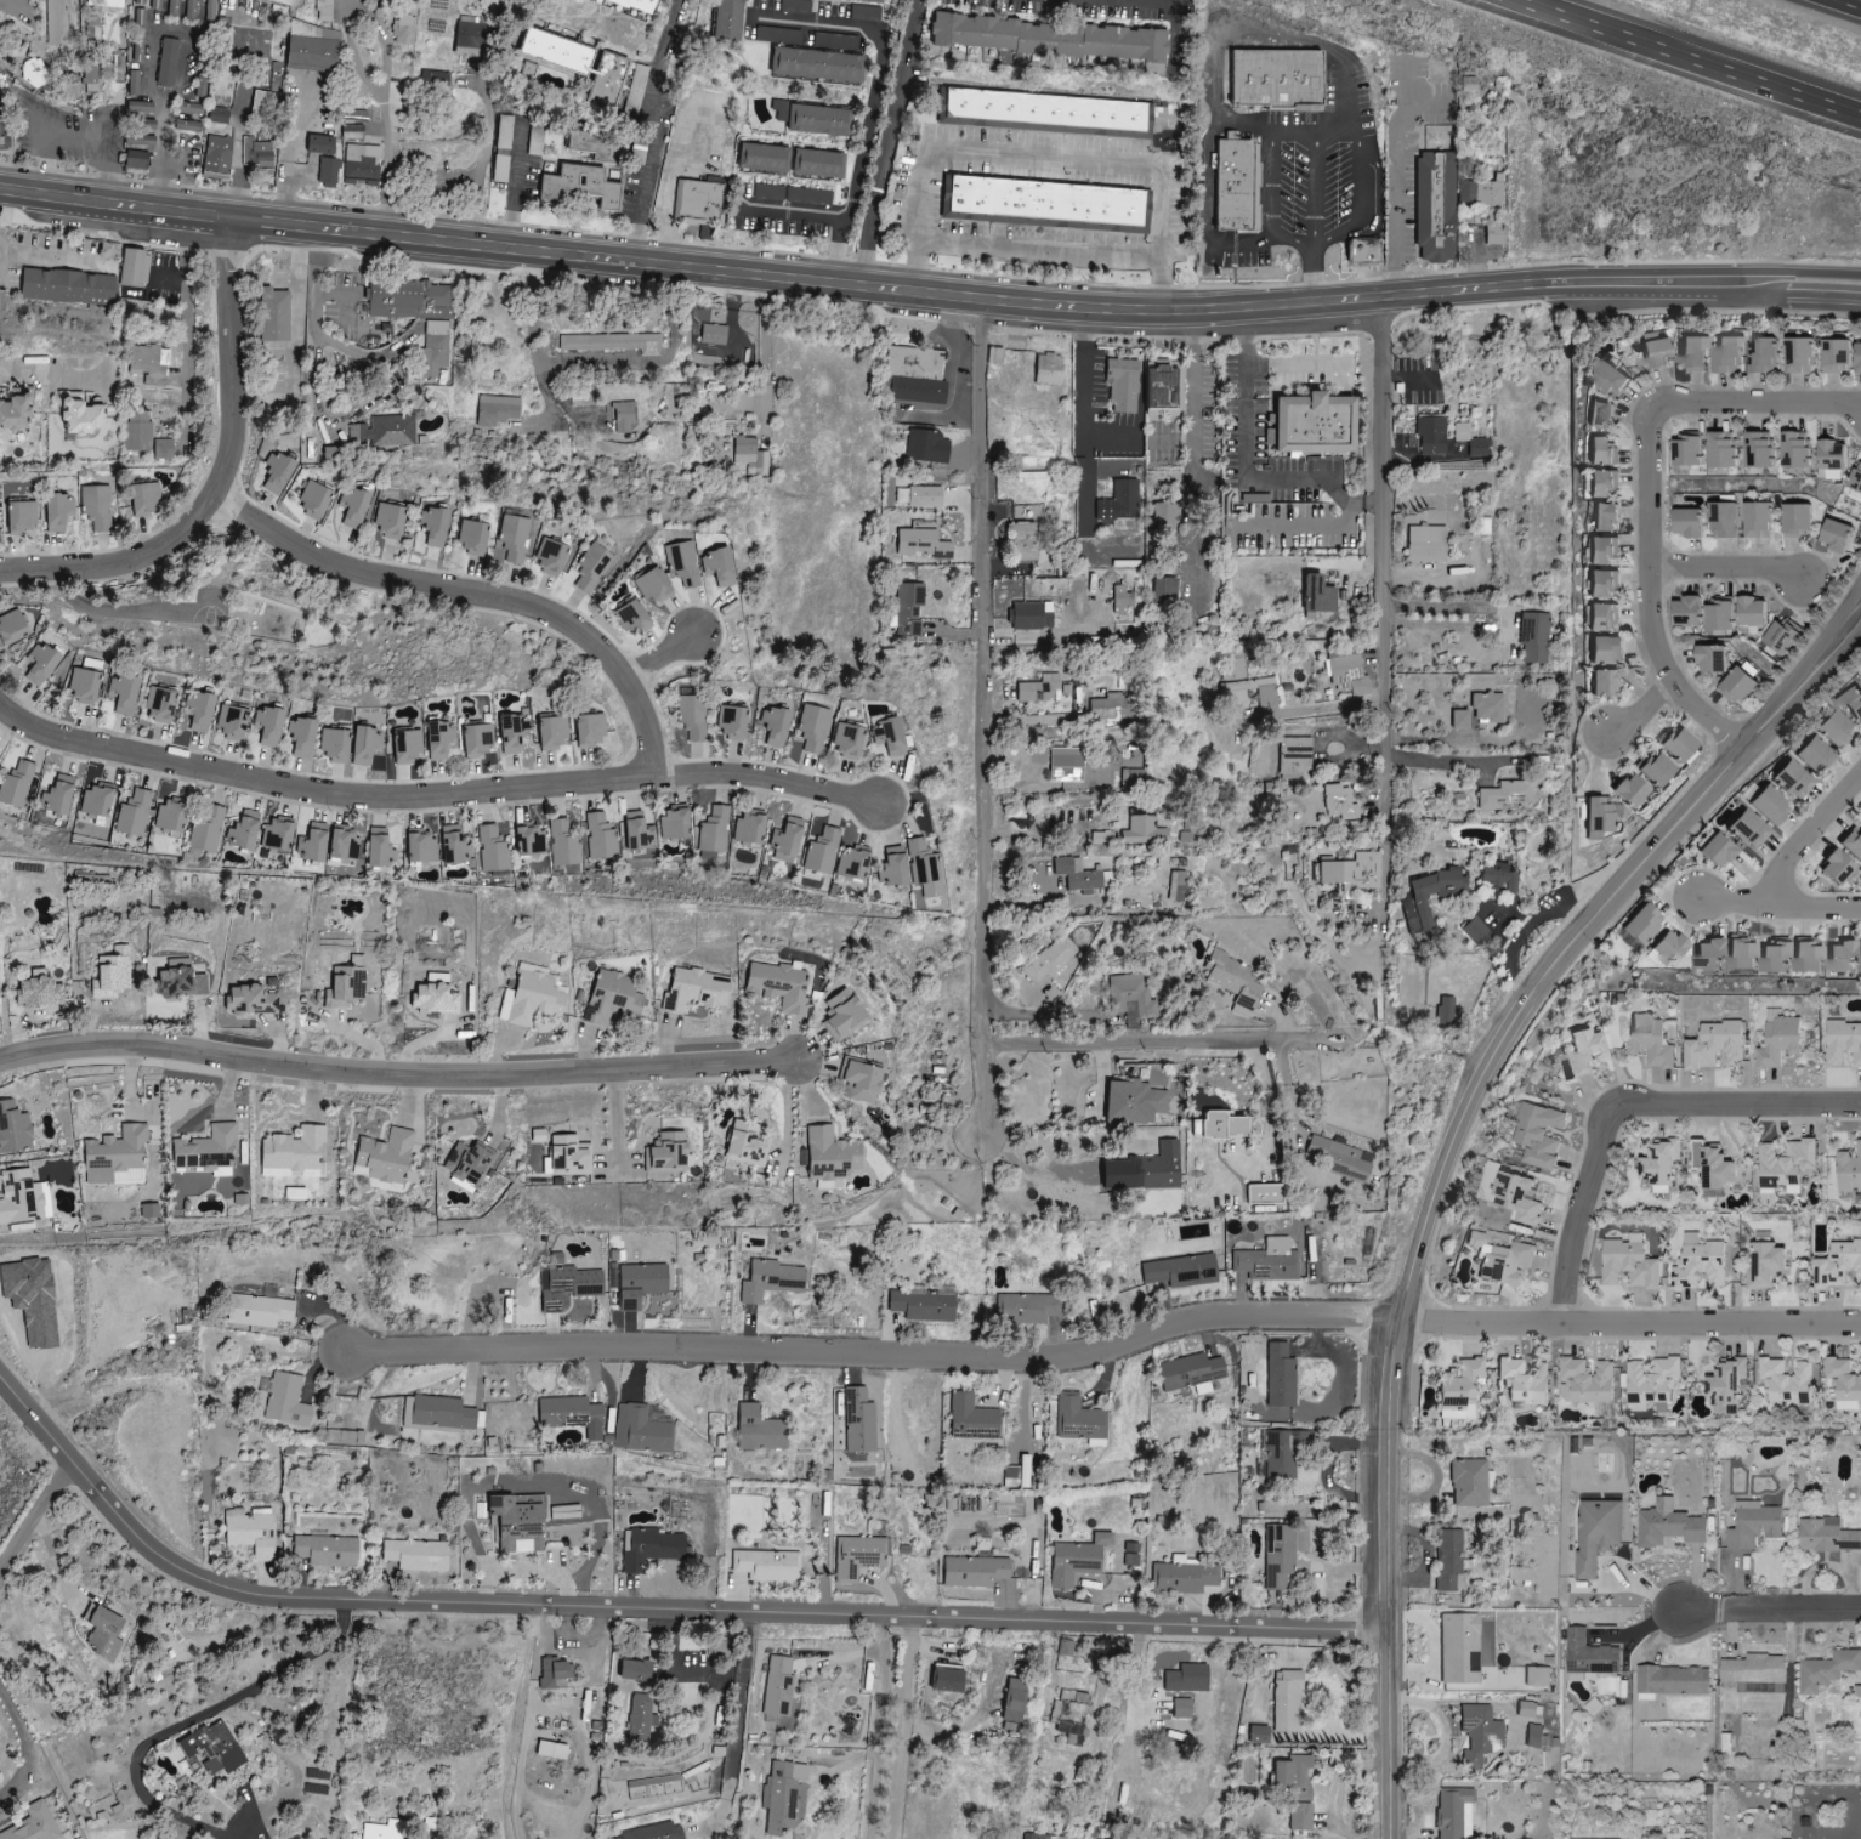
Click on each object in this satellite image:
building: (138, 1)
building: (870, 1)
building: (108, 4)
building: (155, 4)
building: (640, 4)
road: (1845, 5)
building: (174, 7)
building: (191, 8)
building: (210, 10)
building: (323, 11)
building: (730, 18)
building: (55, 23)
building: (404, 30)
road: (194, 33)
building: (1051, 38)
building: (470, 39)
building: (558, 50)
building: (314, 51)
road: (1689, 57)
building: (168, 63)
building: (818, 66)
building: (608, 79)
building: (1272, 79)
building: (90, 80)
building: (134, 83)
building: (433, 83)
building: (635, 91)
building: (396, 93)
road: (876, 100)
building: (263, 107)
building: (1043, 109)
road: (386, 110)
building: (819, 120)
road: (490, 121)
road: (654, 129)
building: (352, 131)
building: (1437, 135)
building: (586, 142)
road: (887, 142)
building: (320, 144)
road: (286, 152)
building: (256, 153)
building: (219, 155)
road: (1042, 155)
building: (765, 158)
building: (136, 160)
building: (819, 164)
building: (361, 165)
street lamp: (32, 169)
building: (327, 174)
road: (1395, 182)
road: (669, 183)
building: (581, 187)
building: (1229, 187)
road: (1315, 188)
building: (1490, 192)
building: (700, 202)
building: (1040, 204)
building: (1436, 206)
road: (796, 217)
street lamp: (572, 227)
road: (1269, 234)
building: (1496, 234)
street lamp: (700, 240)
road: (1241, 240)
road: (1037, 249)
road: (49, 254)
street lamp: (818, 254)
building: (1360, 254)
street lamp: (267, 259)
building: (134, 267)
road: (1314, 272)
building: (68, 286)
road: (927, 291)
building: (408, 300)
road: (296, 307)
building: (274, 316)
road: (186, 329)
building: (713, 335)
road: (534, 339)
building: (612, 344)
building: (433, 347)
building: (1658, 353)
building: (1700, 353)
building: (1734, 354)
building: (1770, 354)
building: (1806, 354)
building: (994, 356)
building: (1845, 356)
building: (149, 364)
building: (1049, 369)
road: (49, 370)
building: (915, 375)
building: (1617, 376)
building: (1123, 386)
building: (1162, 387)
road: (1082, 391)
road: (1760, 408)
building: (497, 410)
building: (16, 411)
building: (1605, 414)
building: (81, 416)
building: (624, 416)
building: (1312, 424)
building: (137, 432)
building: (384, 432)
building: (1431, 435)
building: (1471, 441)
building: (927, 447)
building: (163, 449)
building: (1800, 449)
building: (1691, 450)
building: (1727, 450)
building: (1764, 450)
building: (1607, 452)
building: (1837, 455)
building: (750, 456)
road: (1196, 456)
road: (1246, 461)
road: (219, 473)
building: (277, 473)
building: (1857, 479)
building: (1607, 484)
building: (925, 498)
building: (314, 499)
building: (146, 500)
building: (1117, 503)
building: (96, 507)
building: (353, 507)
building: (58, 511)
building: (1165, 516)
building: (1611, 516)
building: (21, 517)
building: (1805, 518)
building: (1731, 520)
building: (1765, 520)
building: (390, 521)
building: (1696, 522)
building: (435, 527)
building: (1844, 535)
building: (473, 537)
building: (514, 539)
building: (1023, 543)
building: (921, 544)
building: (1425, 544)
road: (1381, 550)
building: (1606, 551)
building: (552, 556)
building: (683, 564)
building: (720, 567)
building: (594, 568)
road: (1738, 572)
building: (1605, 584)
building: (654, 586)
building: (1164, 591)
building: (1318, 595)
road: (469, 596)
road: (1658, 597)
building: (1122, 600)
building: (908, 608)
road: (1448, 609)
building: (1692, 611)
building: (1758, 612)
building: (1724, 614)
building: (636, 617)
building: (1031, 617)
building: (1605, 618)
building: (12, 628)
building: (1787, 636)
building: (1534, 637)
building: (1612, 651)
road: (658, 658)
building: (1719, 659)
building: (41, 664)
building: (1347, 675)
building: (1610, 683)
building: (1747, 685)
building: (84, 686)
building: (1040, 689)
building: (123, 694)
building: (1233, 697)
building: (160, 704)
building: (1111, 708)
road: (1320, 708)
building: (1487, 708)
building: (199, 713)
road: (985, 714)
road: (1652, 715)
building: (692, 719)
building: (1459, 720)
building: (232, 721)
building: (732, 722)
building: (269, 726)
building: (776, 727)
building: (813, 728)
building: (1839, 728)
building: (590, 731)
building: (514, 733)
building: (552, 733)
building: (303, 737)
building: (890, 737)
building: (439, 739)
building: (477, 740)
building: (849, 740)
building: (336, 745)
building: (367, 745)
building: (408, 745)
building: (1681, 745)
building: (1817, 755)
building: (1294, 759)
building: (1067, 765)
building: (1659, 771)
building: (1133, 778)
building: (1794, 779)
building: (17, 784)
building: (1634, 790)
building: (58, 795)
building: (1507, 796)
road: (435, 800)
building: (97, 801)
building: (1339, 802)
building: (1772, 806)
building: (134, 813)
building: (171, 817)
building: (1601, 818)
building: (675, 825)
building: (749, 829)
building: (1751, 829)
building: (206, 830)
building: (245, 830)
building: (714, 830)
building: (639, 833)
road: (1048, 833)
road: (1808, 833)
building: (277, 835)
building: (600, 838)
building: (529, 841)
building: (787, 841)
building: (313, 842)
building: (1853, 842)
building: (345, 844)
building: (563, 845)
building: (455, 846)
building: (421, 847)
building: (381, 848)
building: (493, 850)
building: (823, 851)
building: (1720, 851)
road: (1384, 859)
building: (853, 865)
building: (895, 867)
building: (925, 869)
building: (1352, 872)
building: (1077, 876)
building: (1500, 878)
building: (1176, 886)
building: (1432, 896)
road: (1735, 901)
road: (1816, 903)
building: (1646, 925)
building: (1475, 931)
building: (1674, 948)
building: (1746, 953)
building: (1713, 954)
building: (1780, 957)
building: (1812, 958)
building: (1846, 958)
building: (1049, 960)
building: (113, 977)
building: (180, 983)
building: (1233, 983)
building: (779, 986)
building: (346, 988)
building: (40, 991)
building: (696, 991)
building: (1130, 995)
building: (435, 999)
building: (613, 999)
building: (531, 1000)
building: (251, 1001)
building: (1445, 1011)
building: (844, 1015)
road: (1037, 1016)
building: (1653, 1040)
building: (1783, 1041)
building: (1845, 1041)
road: (1122, 1043)
building: (1719, 1045)
building: (1590, 1051)
building: (1575, 1068)
road: (399, 1074)
building: (862, 1079)
building: (1135, 1103)
road: (1624, 1106)
road: (615, 1122)
building: (1222, 1126)
building: (15, 1129)
building: (1544, 1134)
road: (1057, 1140)
building: (748, 1145)
building: (294, 1151)
building: (666, 1154)
building: (386, 1157)
building: (571, 1157)
building: (1338, 1157)
building: (117, 1158)
building: (832, 1158)
road: (1456, 1158)
building: (1792, 1164)
building: (469, 1165)
building: (1667, 1165)
building: (1723, 1168)
building: (1145, 1170)
building: (1851, 1171)
building: (1265, 1194)
building: (21, 1198)
building: (151, 1211)
building: (1267, 1261)
building: (1504, 1261)
building: (1702, 1262)
building: (1634, 1265)
building: (1842, 1265)
building: (1771, 1266)
building: (1181, 1271)
building: (771, 1281)
building: (641, 1284)
building: (568, 1287)
building: (923, 1306)
building: (1027, 1309)
building: (260, 1311)
road: (1630, 1324)
road: (874, 1357)
building: (1190, 1372)
building: (1280, 1375)
building: (1791, 1380)
building: (1526, 1381)
building: (1590, 1381)
building: (1656, 1381)
building: (1846, 1381)
building: (1731, 1384)
building: (1462, 1390)
building: (286, 1401)
building: (441, 1413)
building: (572, 1414)
building: (972, 1419)
building: (858, 1420)
building: (1080, 1420)
building: (760, 1429)
building: (640, 1430)
building: (1280, 1455)
building: (1017, 1474)
building: (558, 1478)
building: (1470, 1482)
building: (564, 1512)
road: (34, 1517)
building: (520, 1522)
building: (1758, 1525)
building: (1673, 1527)
building: (251, 1533)
building: (1602, 1533)
building: (1829, 1534)
building: (651, 1549)
building: (327, 1550)
building: (1130, 1554)
building: (418, 1555)
building: (857, 1556)
building: (1278, 1556)
building: (1077, 1560)
building: (1448, 1560)
building: (767, 1565)
building: (975, 1571)
building: (1520, 1573)
building: (1182, 1578)
road: (1771, 1608)
road: (649, 1611)
building: (104, 1631)
building: (1460, 1648)
building: (1592, 1653)
road: (1050, 1658)
building: (1759, 1668)
building: (637, 1669)
building: (1829, 1669)
building: (552, 1671)
building: (1539, 1676)
building: (948, 1678)
building: (1187, 1679)
building: (1676, 1680)
building: (778, 1686)
building: (1859, 1691)
building: (1016, 1701)
building: (1287, 1702)
building: (1528, 1709)
building: (641, 1718)
building: (1068, 1718)
road: (193, 1721)
road: (516, 1722)
road: (878, 1727)
road: (902, 1727)
road: (733, 1732)
building: (1480, 1733)
building: (1259, 1735)
building: (1538, 1735)
building: (1730, 1743)
road: (24, 1747)
building: (214, 1748)
building: (552, 1750)
building: (1297, 1788)
building: (781, 1797)
building: (1454, 1814)
building: (34, 1824)
building: (384, 1831)
building: (654, 1833)
building: (1043, 1837)
building: (1573, 1838)

